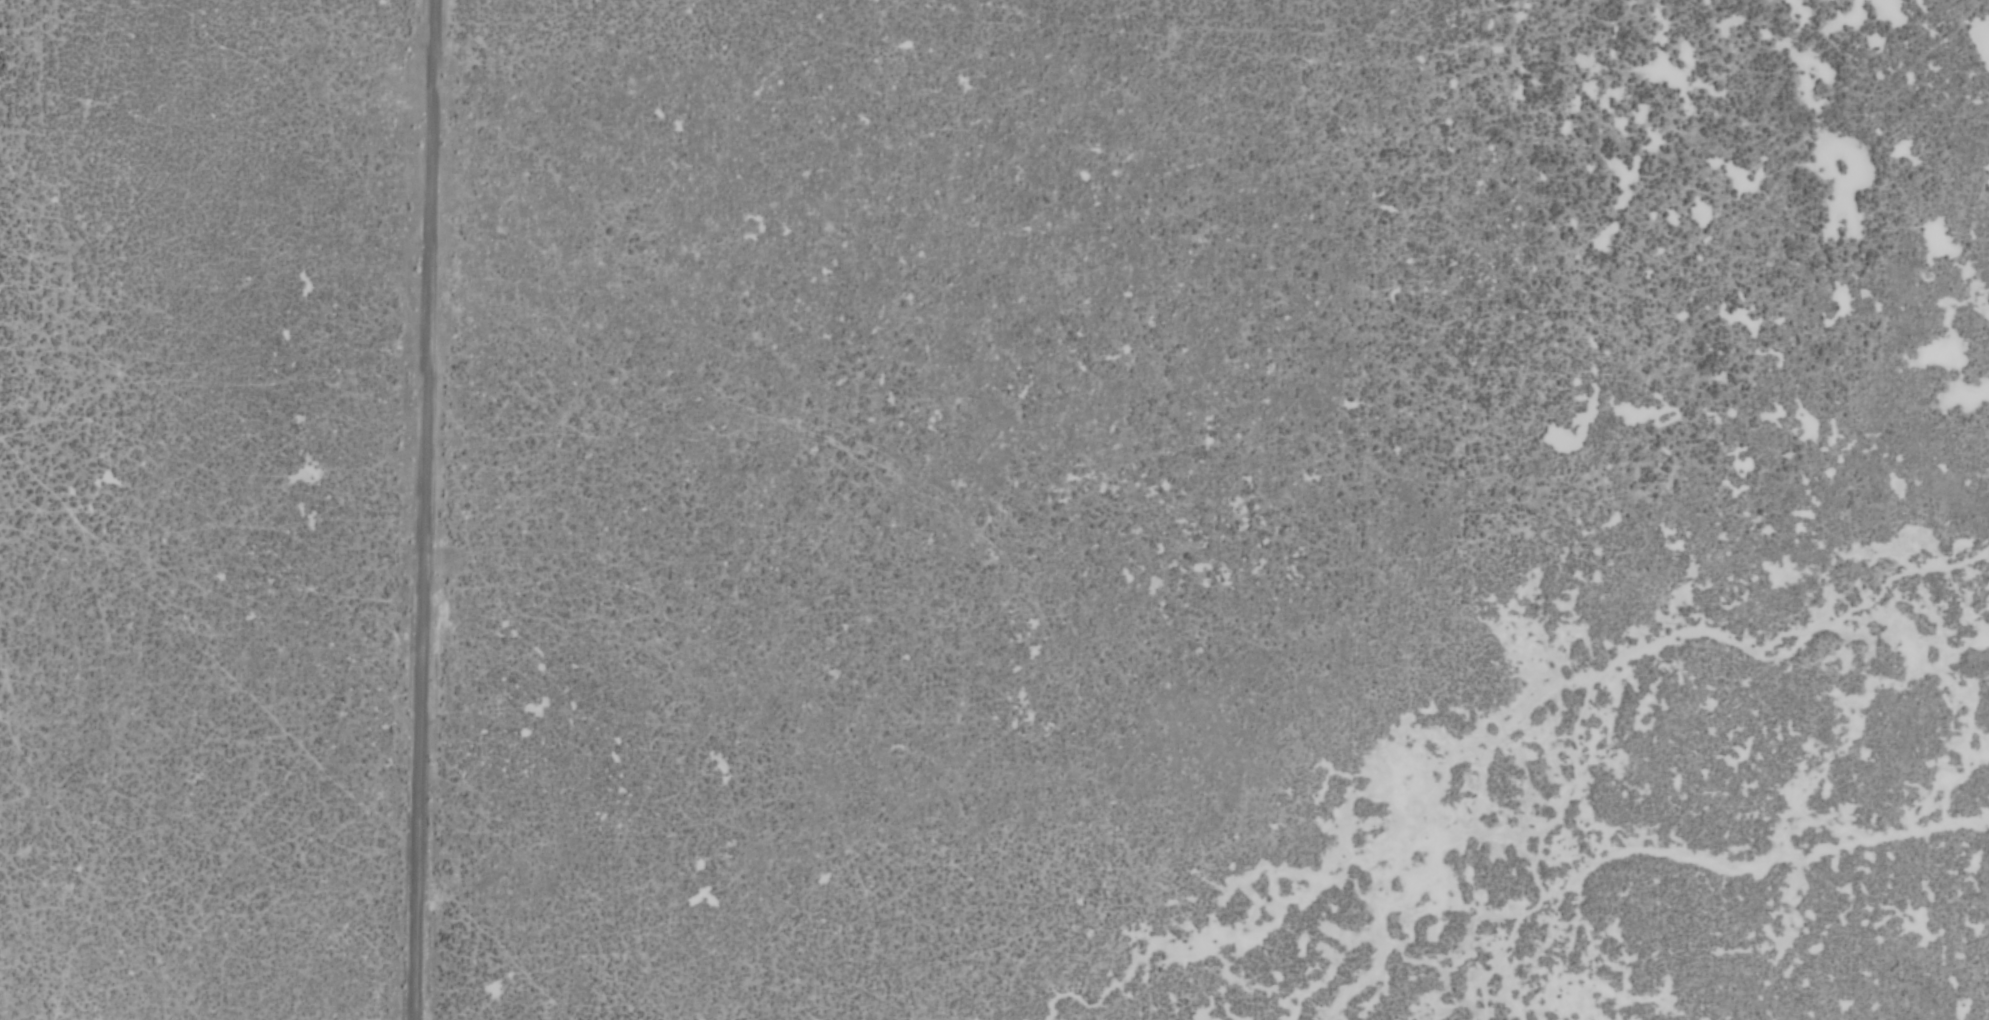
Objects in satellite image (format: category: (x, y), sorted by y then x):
road: (430, 510)
airport: (994, 510)

